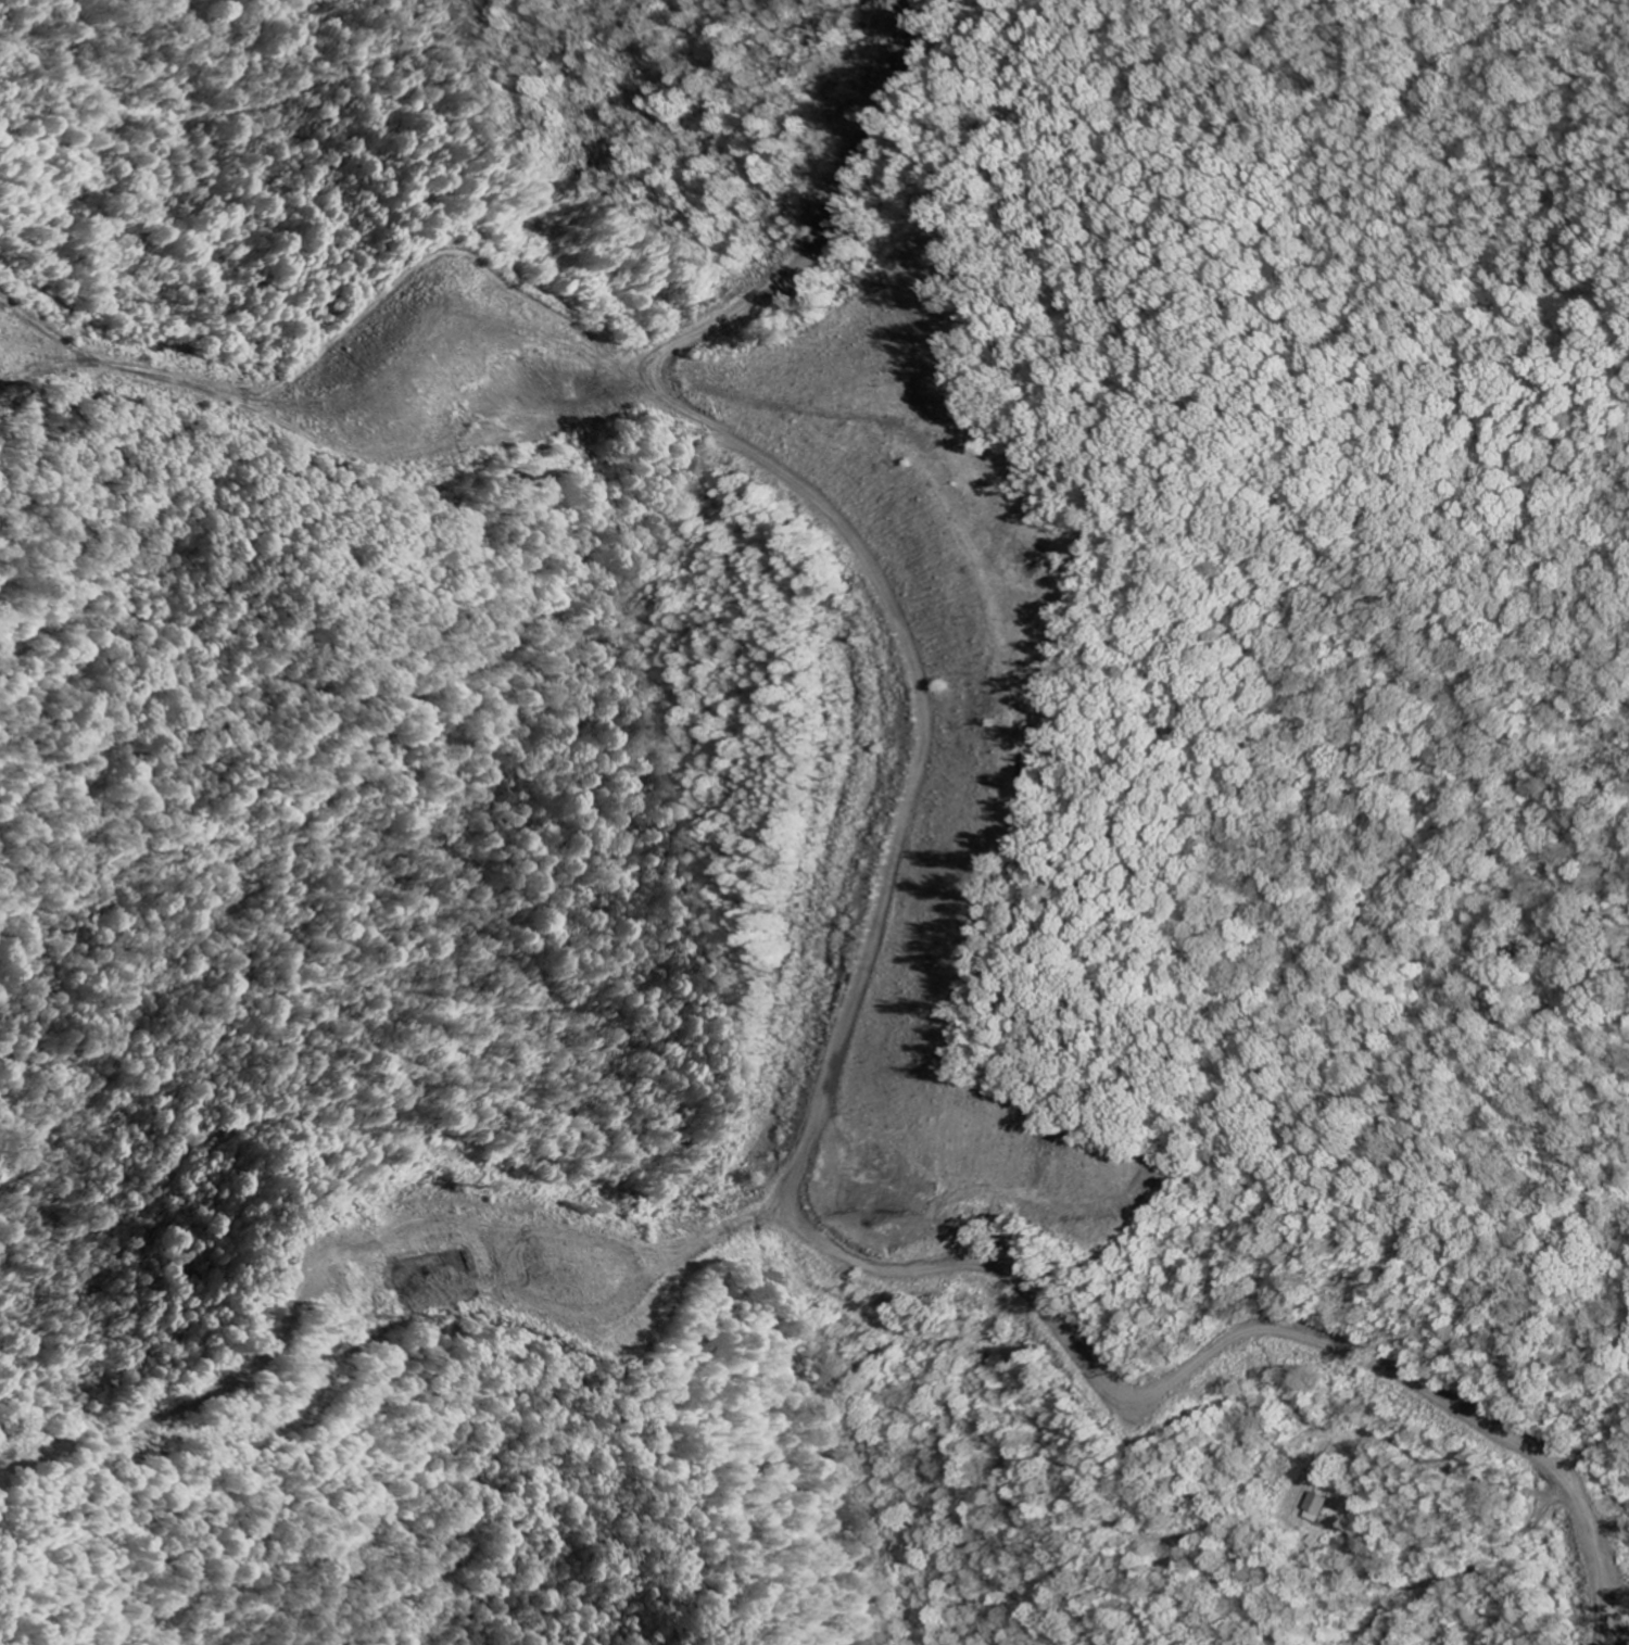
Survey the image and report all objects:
building: (1312, 1508)

